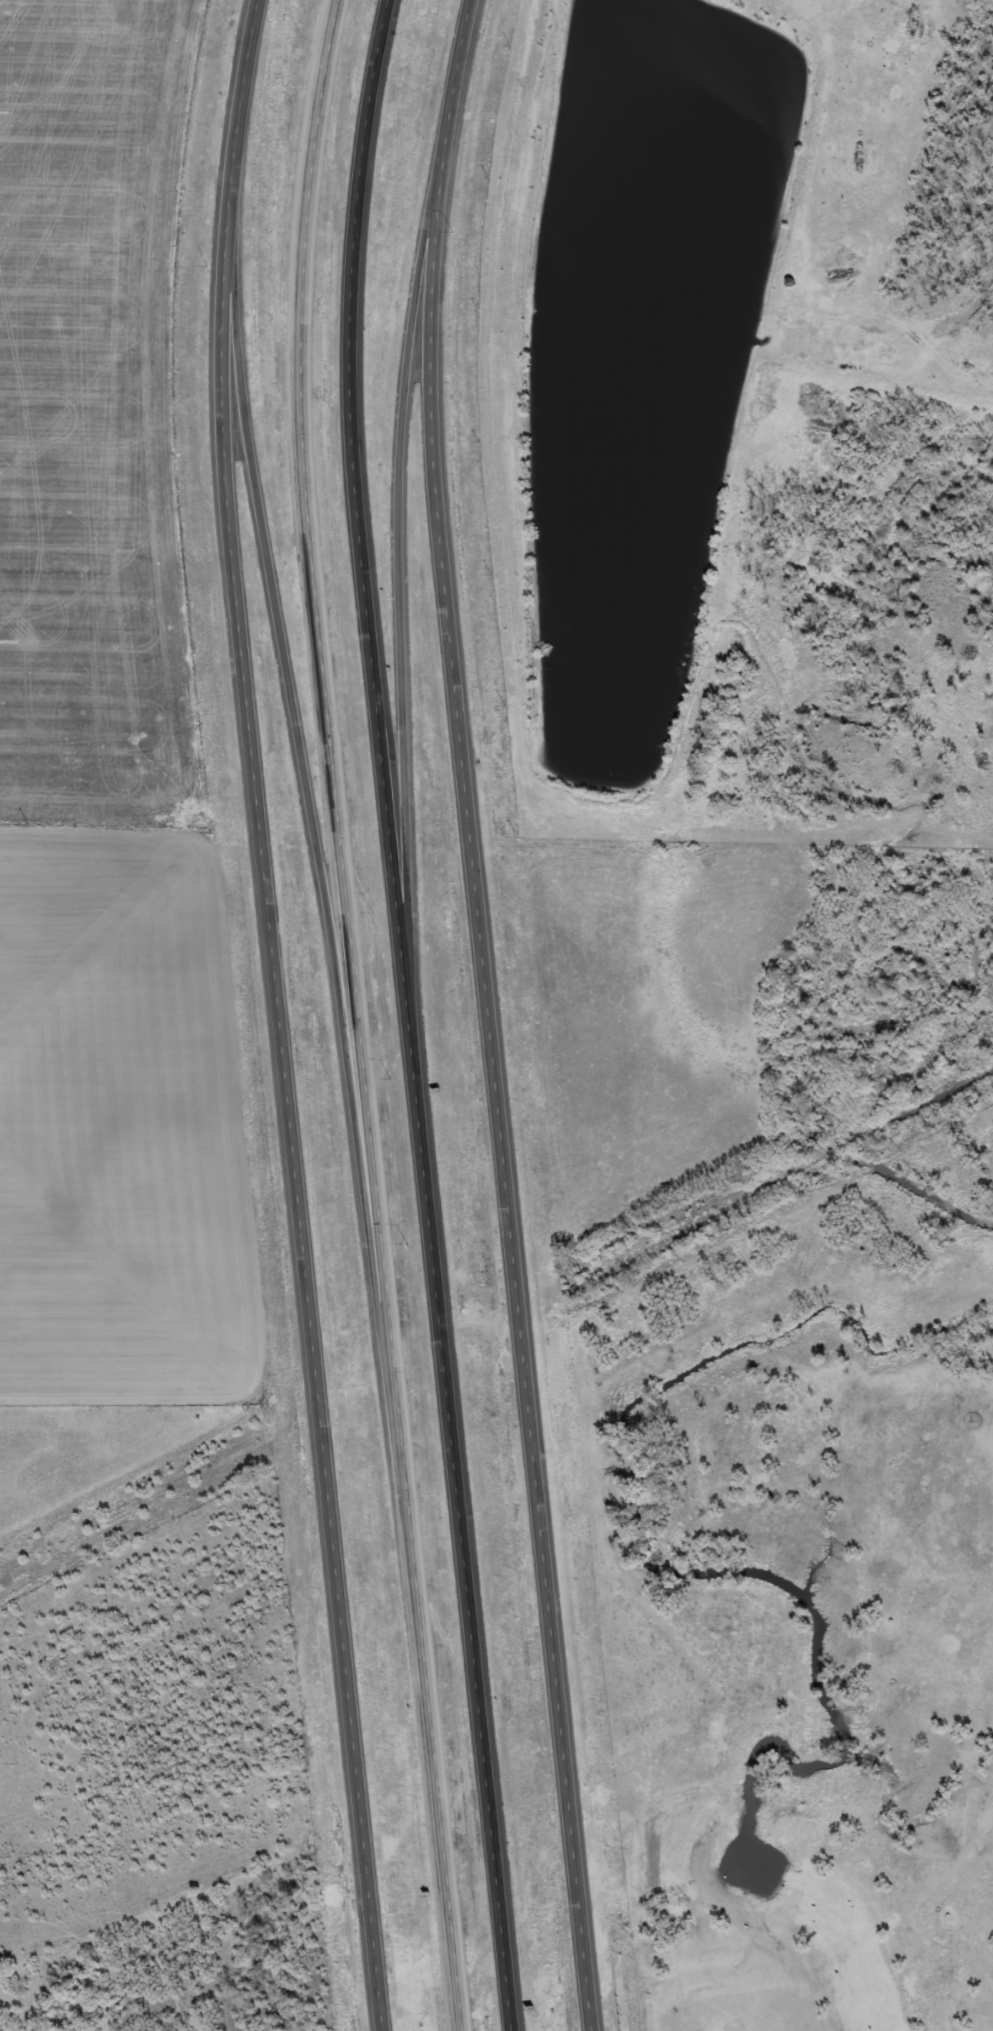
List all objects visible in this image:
road: (396, 569)
road: (301, 770)
road: (275, 1015)
road: (406, 1015)
road: (486, 1015)
road: (355, 1016)
railway: (496, 1323)

